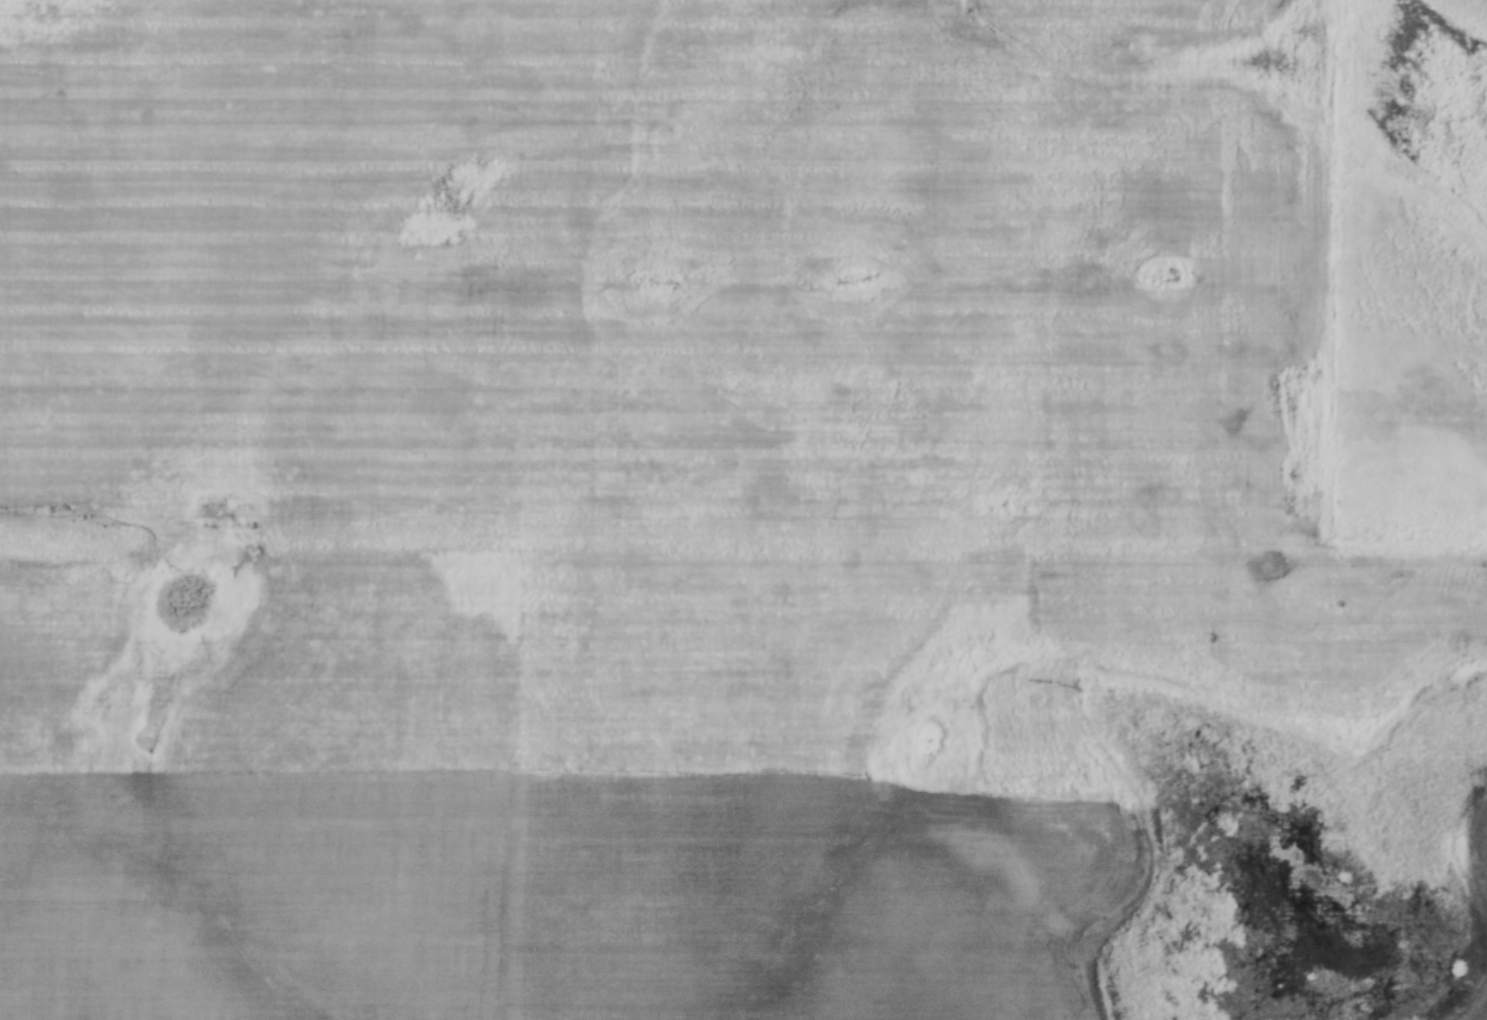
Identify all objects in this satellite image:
airport runway: (1448, 246)

